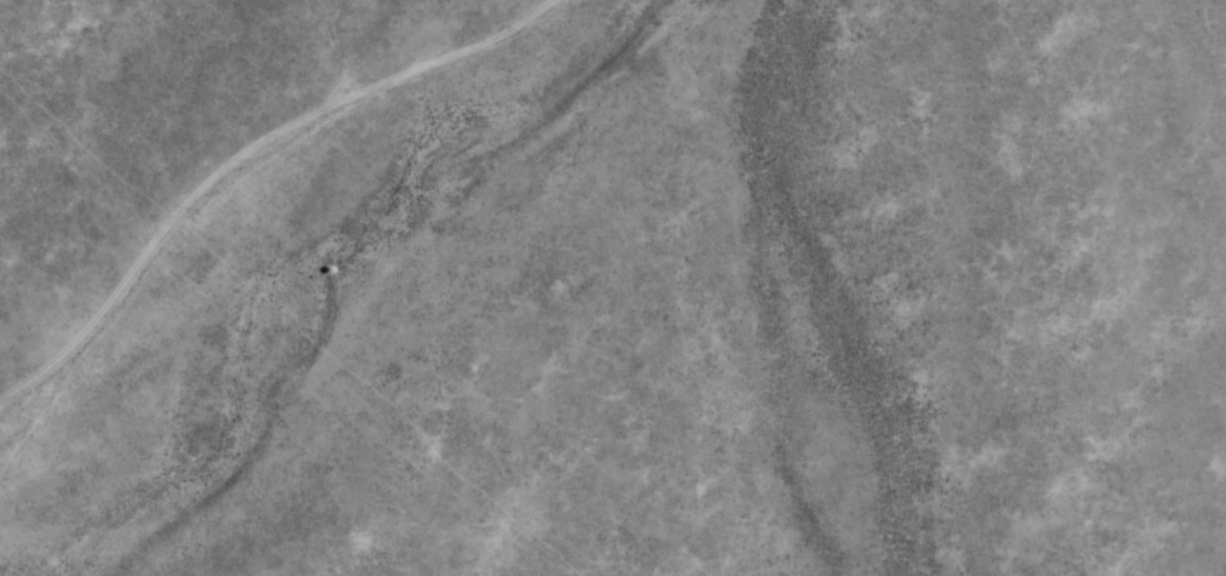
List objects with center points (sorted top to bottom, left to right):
road: (241, 207)

